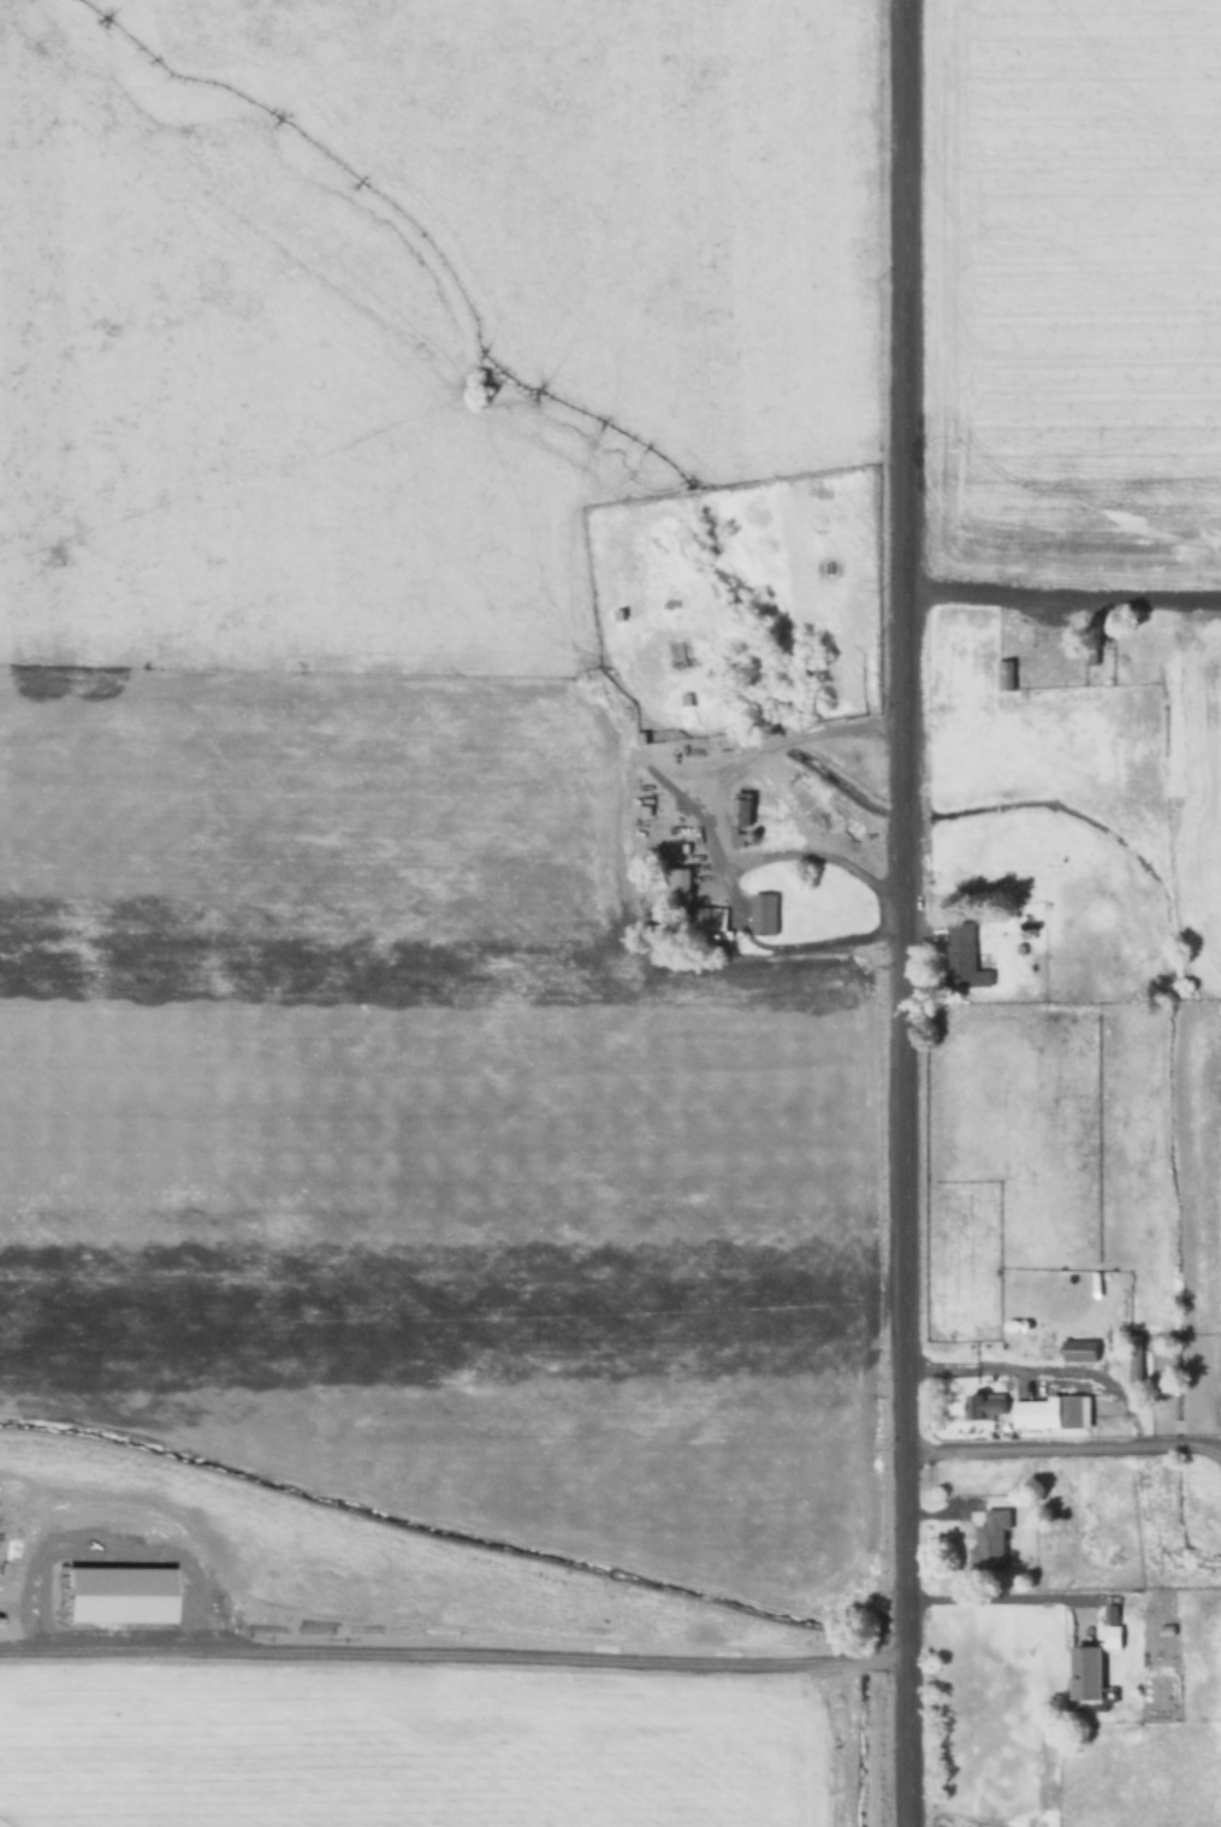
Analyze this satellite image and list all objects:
road: (1063, 590)
road: (905, 913)
road: (1116, 1401)

